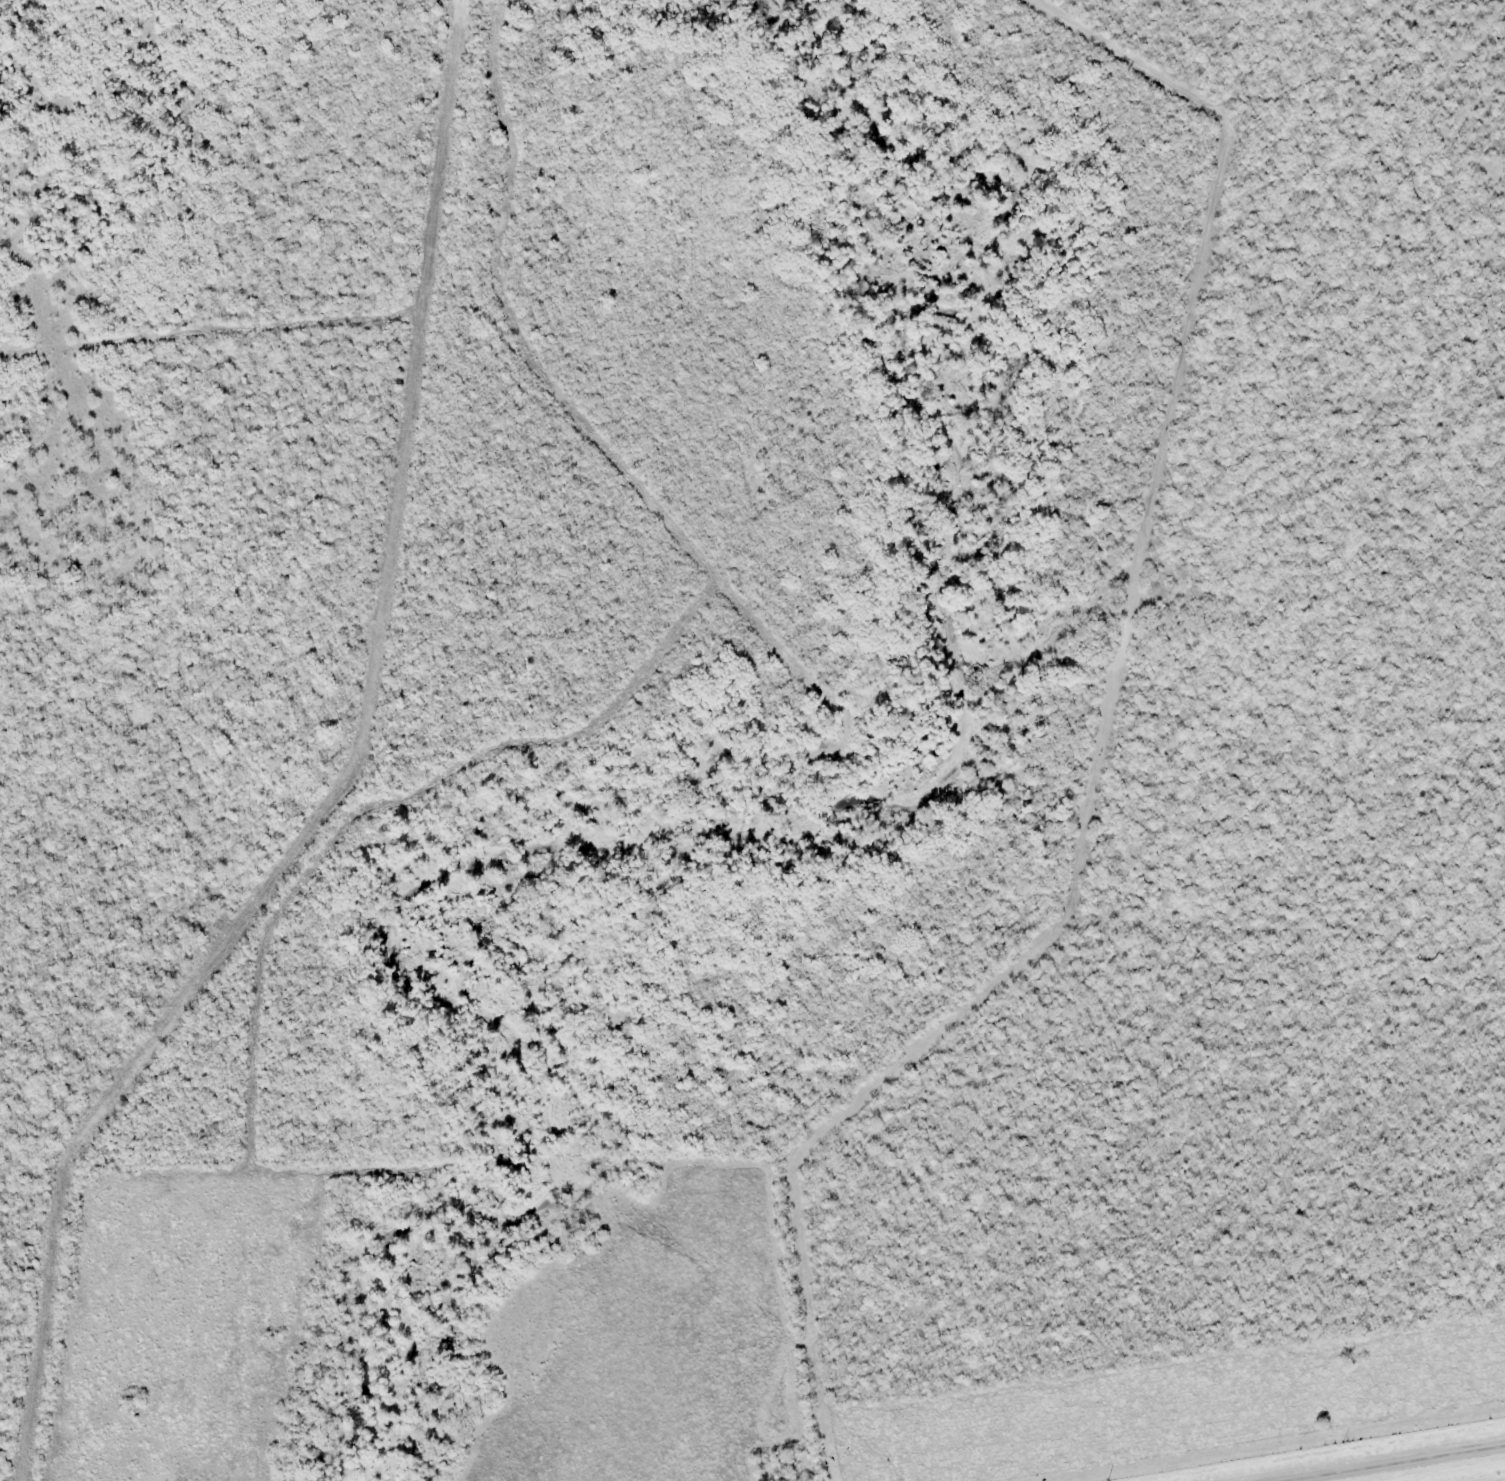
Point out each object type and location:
road: (1386, 1461)

